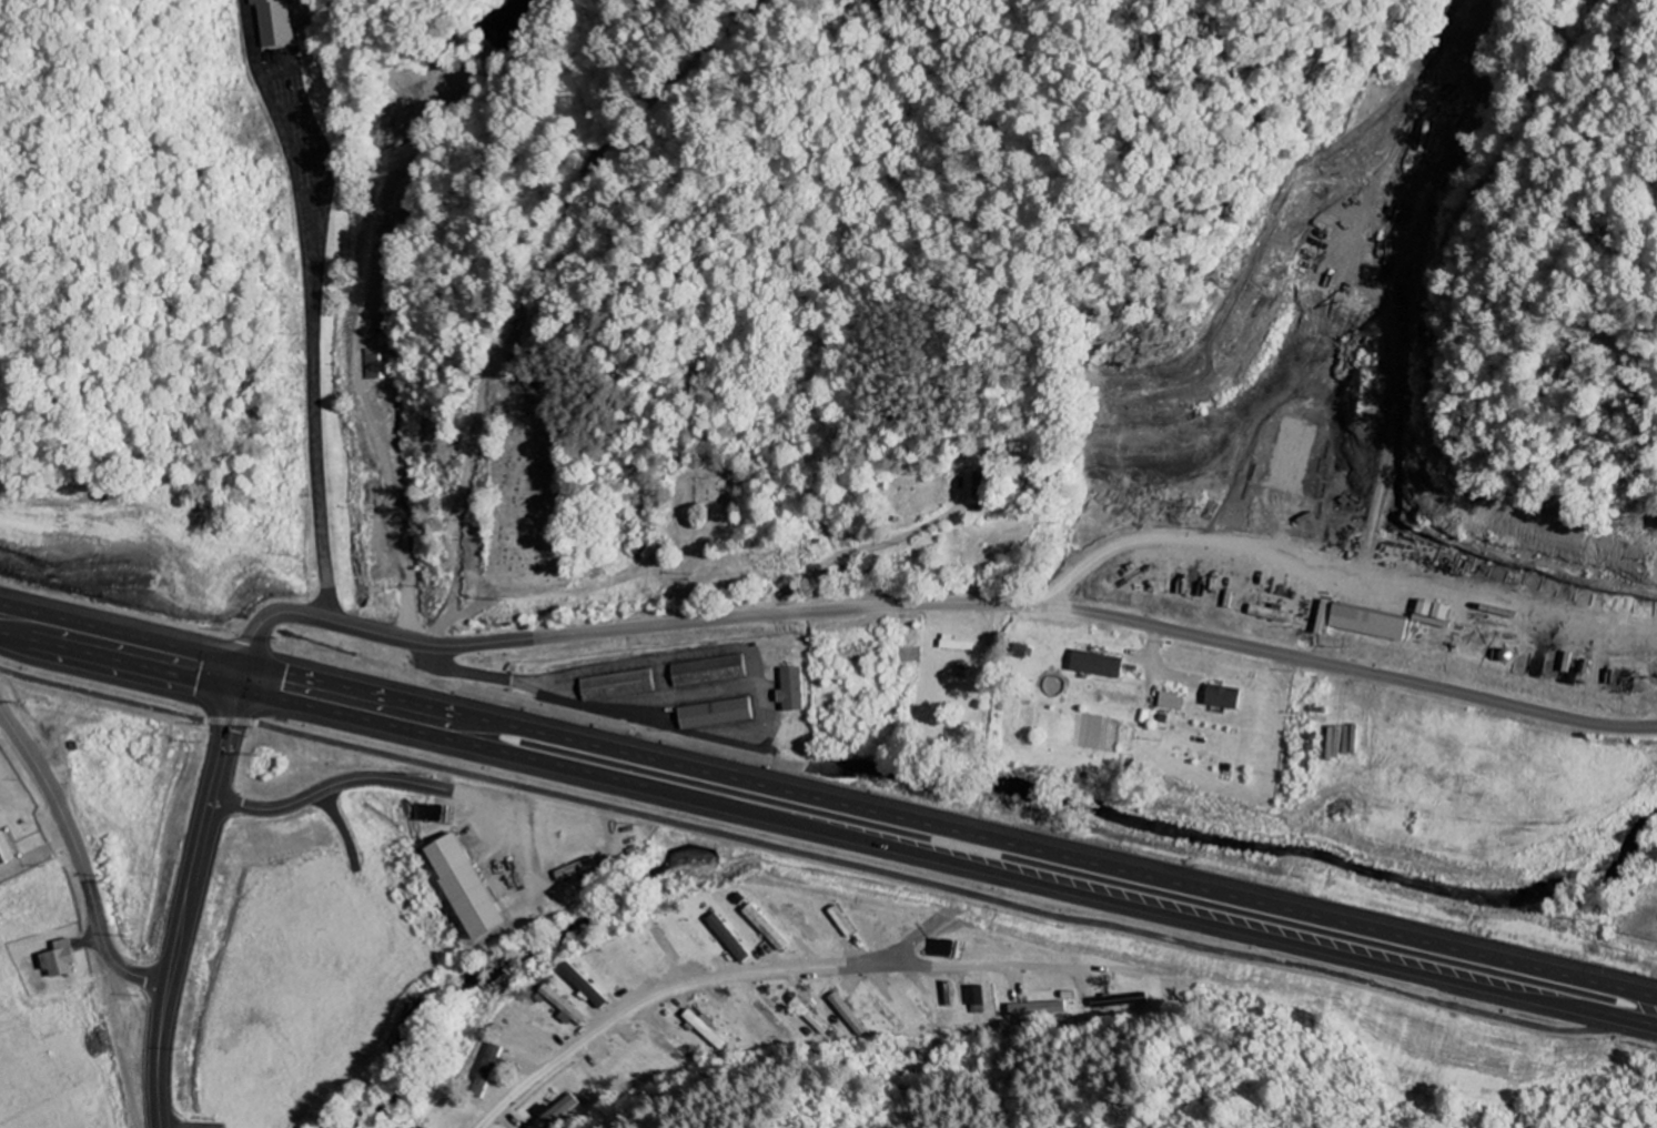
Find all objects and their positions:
building: (277, 22)
building: (1428, 138)
road: (317, 338)
building: (377, 361)
park: (713, 495)
park: (531, 503)
road: (925, 604)
road: (465, 615)
building: (1356, 623)
building: (951, 645)
building: (1016, 652)
traffic signals: (249, 662)
building: (1093, 665)
building: (704, 672)
building: (612, 686)
building: (788, 691)
traffic signals: (241, 693)
road: (543, 693)
building: (1220, 698)
building: (1168, 702)
building: (713, 714)
road: (828, 799)
river: (776, 804)
road: (828, 830)
river: (1251, 839)
building: (10, 860)
road: (80, 864)
building: (573, 870)
building: (459, 888)
road: (193, 909)
building: (796, 924)
building: (765, 929)
building: (726, 939)
river: (534, 947)
building: (65, 959)
road: (785, 967)
building: (583, 986)
building: (972, 997)
building: (562, 1008)
building: (1034, 1009)
building: (843, 1016)
building: (701, 1028)
building: (553, 1112)

